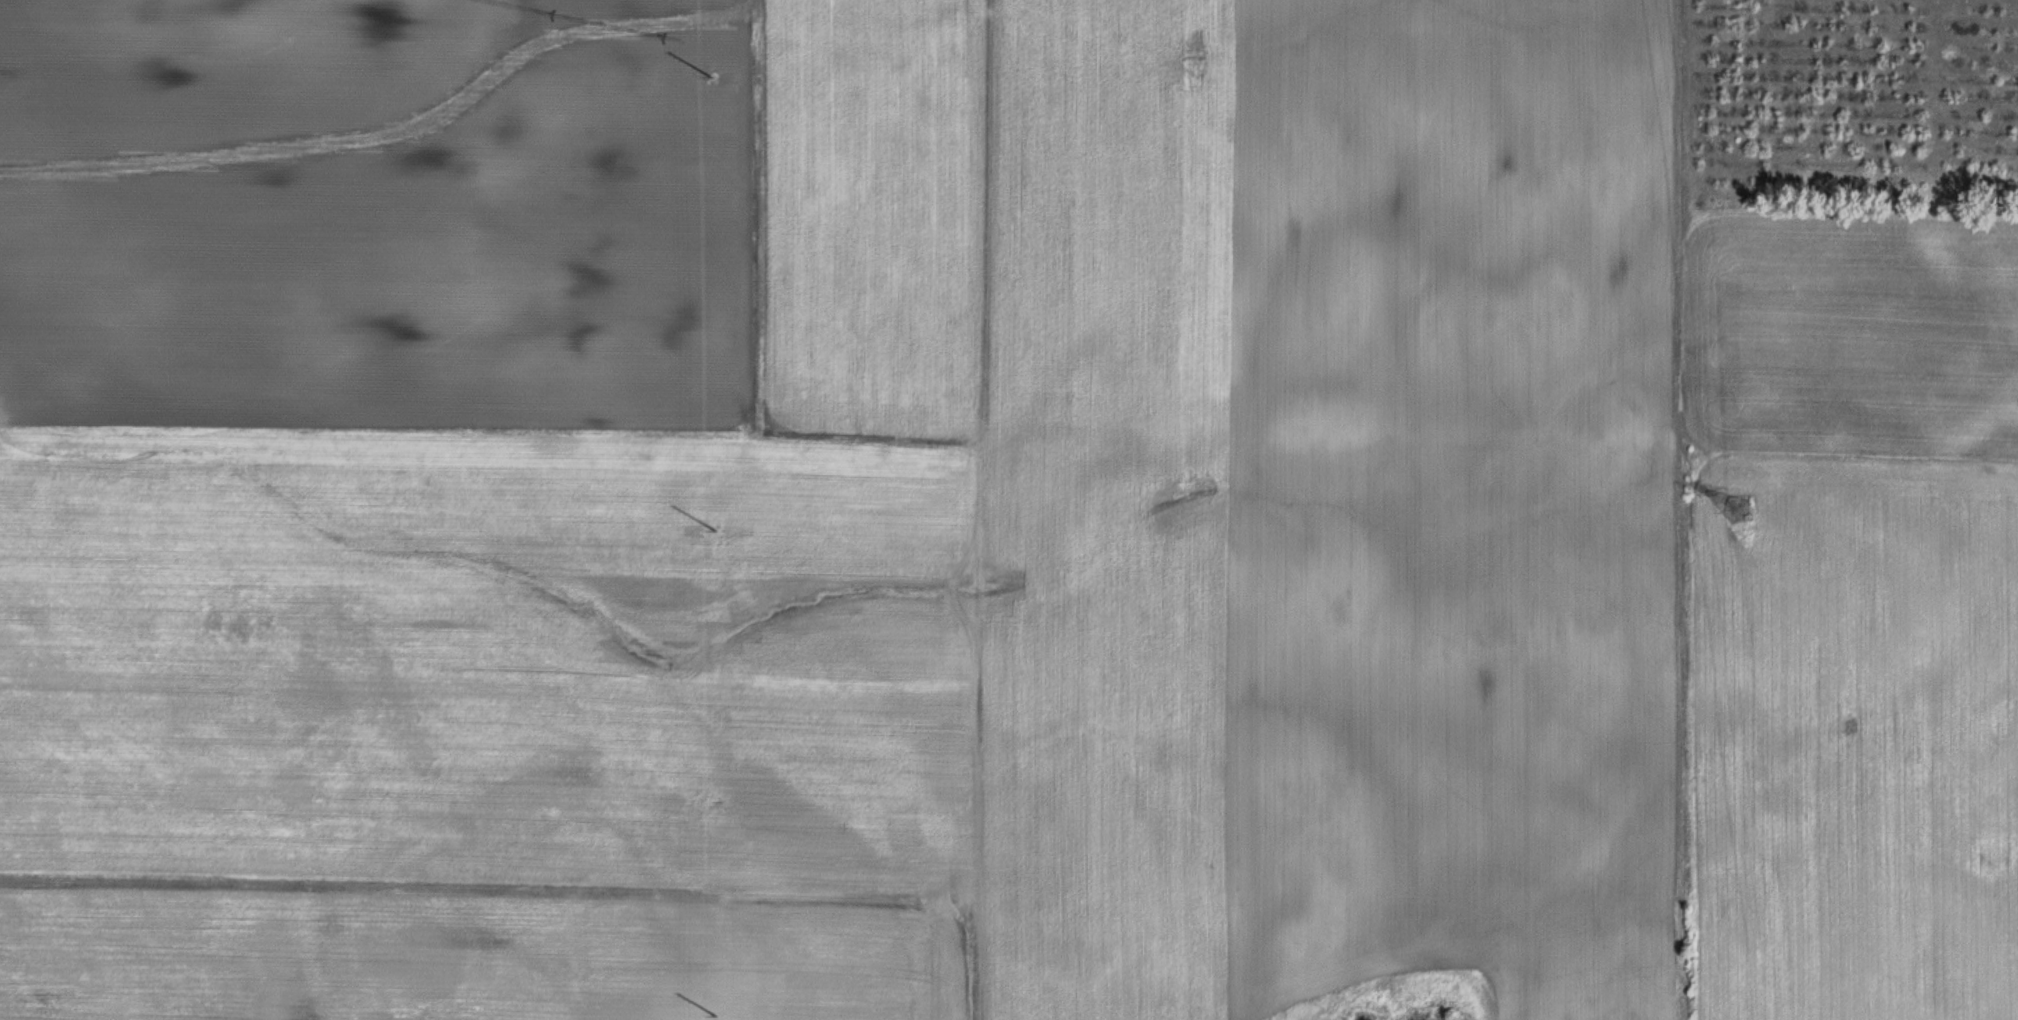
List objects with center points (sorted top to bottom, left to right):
power tower: (1741, 508)

